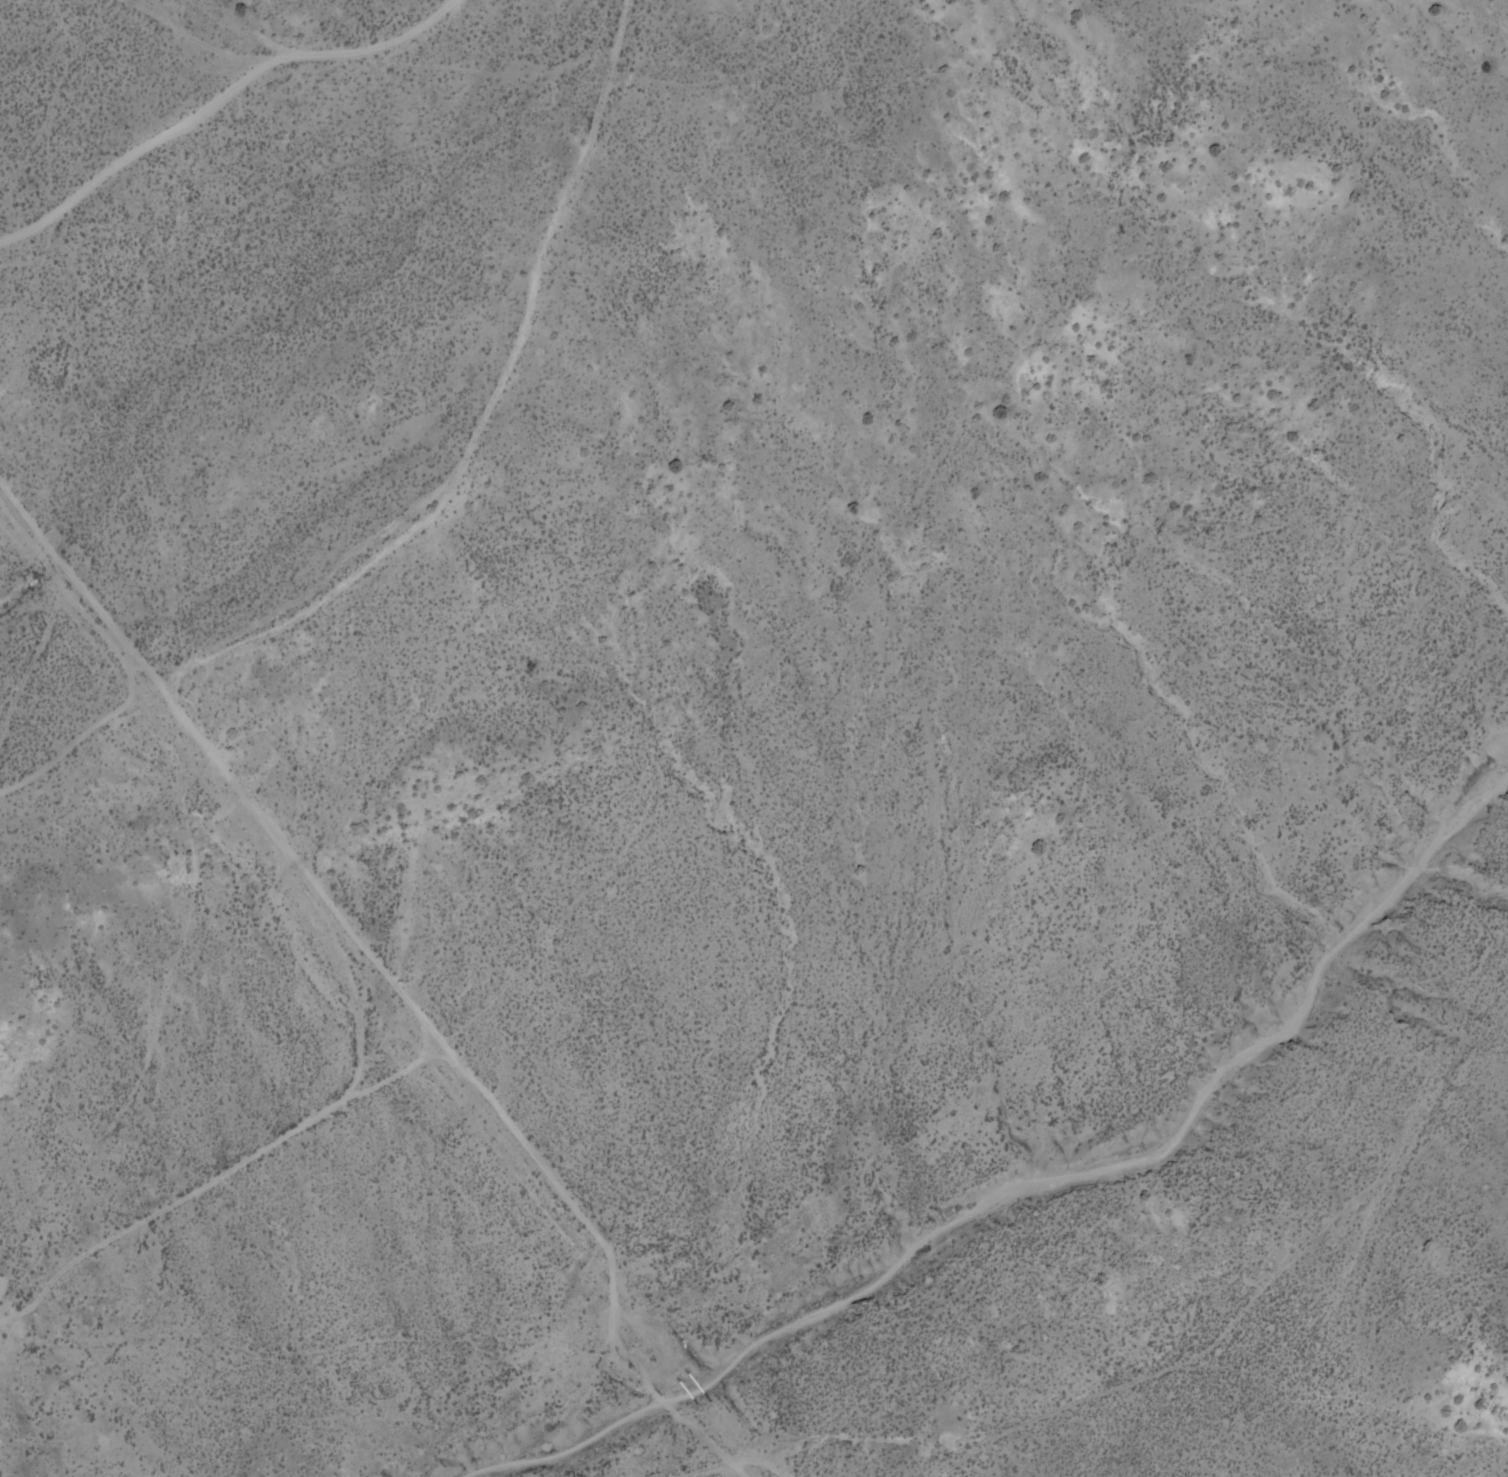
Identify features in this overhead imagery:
road: (193, 37)
road: (219, 101)
road: (253, 632)
road: (71, 731)
road: (388, 976)

